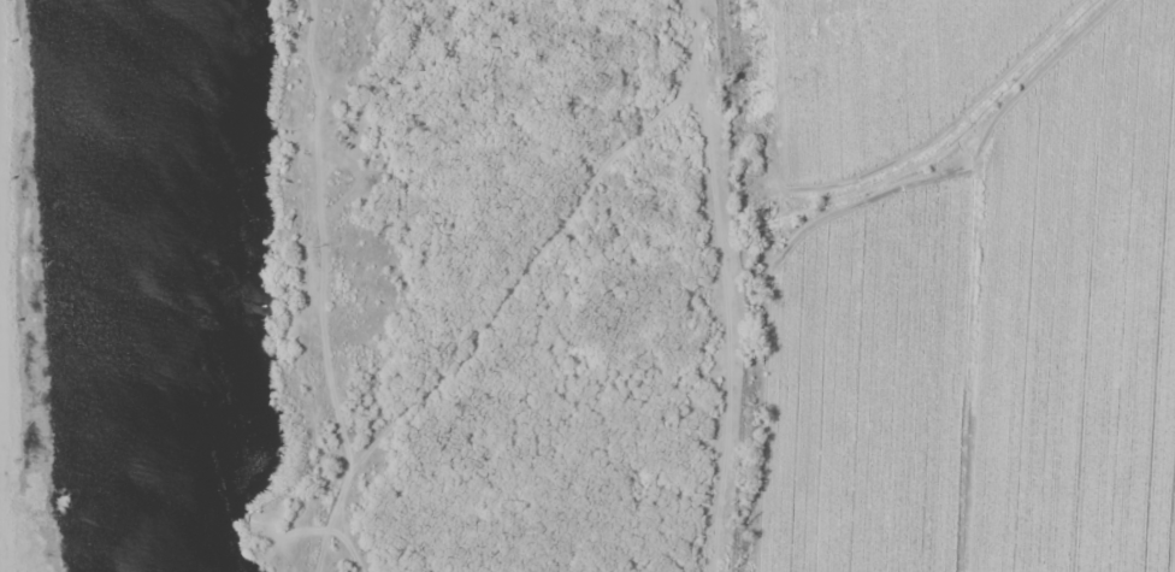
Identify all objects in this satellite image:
river: (159, 285)

